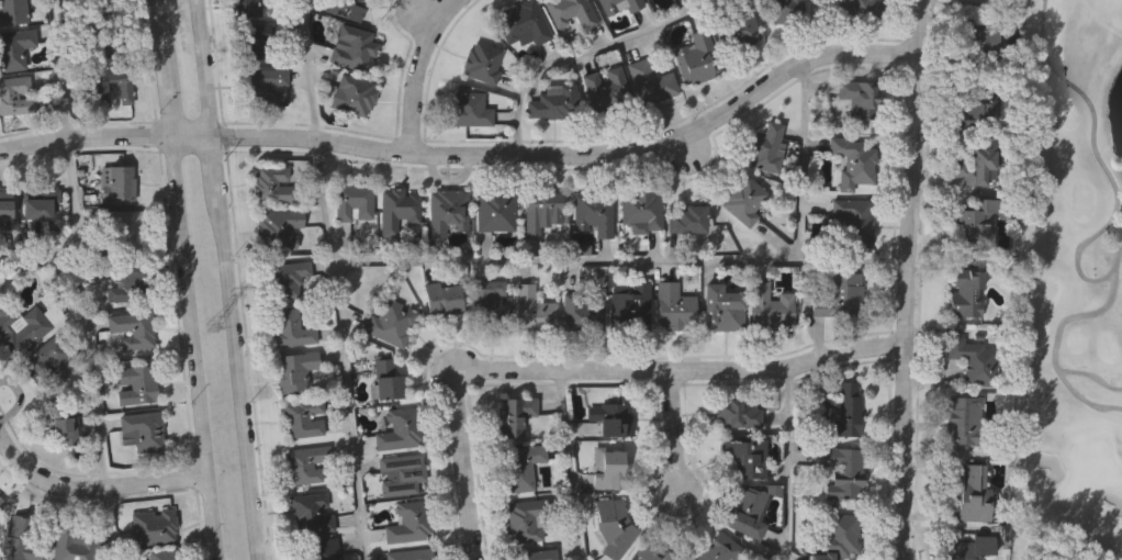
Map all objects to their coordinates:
building: (85, 0)
building: (102, 4)
building: (632, 4)
building: (608, 5)
building: (244, 8)
building: (347, 8)
building: (785, 10)
building: (861, 10)
building: (13, 12)
building: (570, 12)
building: (523, 23)
building: (737, 26)
road: (810, 29)
building: (248, 40)
building: (102, 41)
building: (989, 44)
building: (14, 47)
building: (352, 48)
road: (584, 54)
building: (696, 58)
building: (483, 61)
road: (310, 69)
road: (415, 71)
building: (650, 81)
building: (262, 87)
building: (605, 90)
building: (98, 91)
building: (355, 93)
building: (15, 96)
building: (859, 99)
building: (553, 102)
building: (976, 108)
building: (468, 110)
building: (766, 146)
road: (469, 153)
building: (978, 159)
road: (803, 161)
building: (853, 164)
building: (121, 184)
building: (271, 184)
building: (745, 198)
building: (41, 203)
building: (7, 204)
building: (352, 204)
building: (397, 209)
building: (542, 209)
building: (447, 210)
building: (496, 210)
building: (640, 211)
building: (593, 212)
building: (975, 217)
building: (689, 220)
building: (854, 221)
building: (277, 229)
building: (124, 231)
road: (64, 246)
road: (30, 260)
road: (619, 262)
building: (289, 275)
road: (225, 279)
road: (905, 279)
road: (184, 280)
building: (127, 282)
park: (1075, 285)
building: (966, 294)
building: (840, 296)
building: (441, 298)
building: (487, 300)
building: (617, 302)
building: (720, 303)
building: (768, 303)
building: (674, 304)
building: (584, 309)
building: (534, 310)
building: (390, 322)
building: (23, 327)
building: (291, 327)
building: (134, 328)
power tower: (214, 331)
road: (341, 349)
building: (974, 360)
building: (32, 361)
building: (294, 368)
road: (683, 369)
building: (385, 377)
building: (136, 384)
building: (844, 411)
building: (736, 412)
building: (514, 413)
building: (302, 415)
building: (613, 417)
building: (968, 419)
building: (63, 421)
building: (399, 427)
building: (144, 428)
road: (675, 430)
building: (744, 455)
road: (789, 462)
building: (306, 463)
road: (463, 464)
road: (571, 464)
building: (520, 466)
building: (609, 468)
building: (840, 469)
building: (401, 473)
road: (92, 489)
building: (970, 493)
building: (1, 500)
building: (1, 505)
building: (311, 512)
building: (749, 514)
building: (526, 518)
building: (409, 522)
road: (110, 524)
building: (153, 526)
building: (615, 526)
building: (837, 537)
building: (19, 539)
building: (76, 544)
building: (323, 548)
building: (718, 548)
building: (967, 548)
building: (653, 551)
building: (409, 553)
building: (537, 553)
building: (165, 555)

